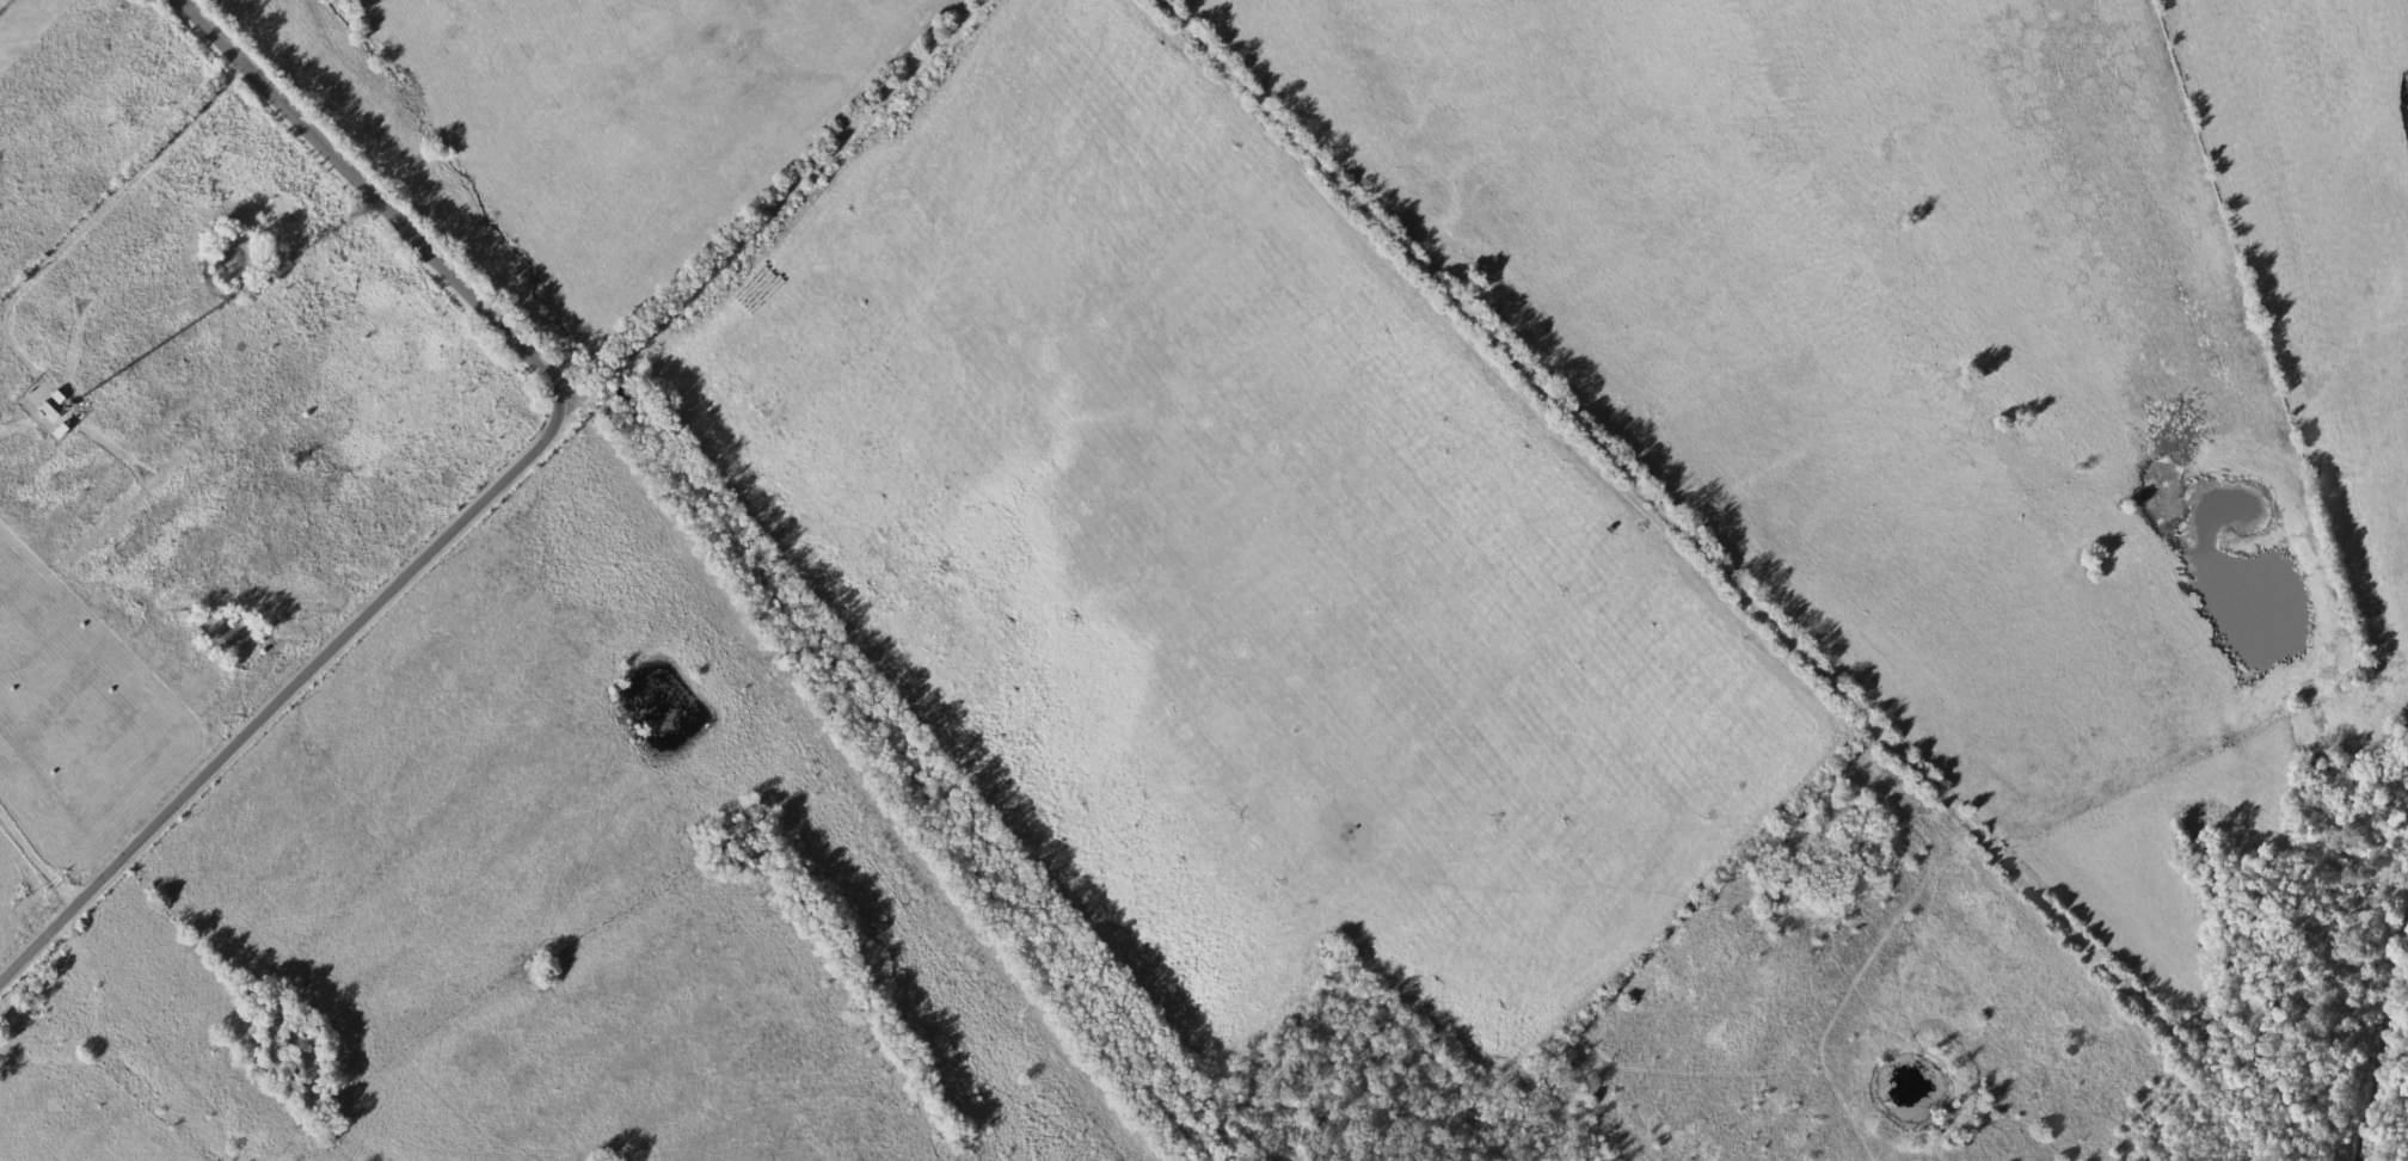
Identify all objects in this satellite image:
road: (381, 199)
road: (94, 216)
road: (486, 490)
road: (1724, 575)
road: (146, 1042)

